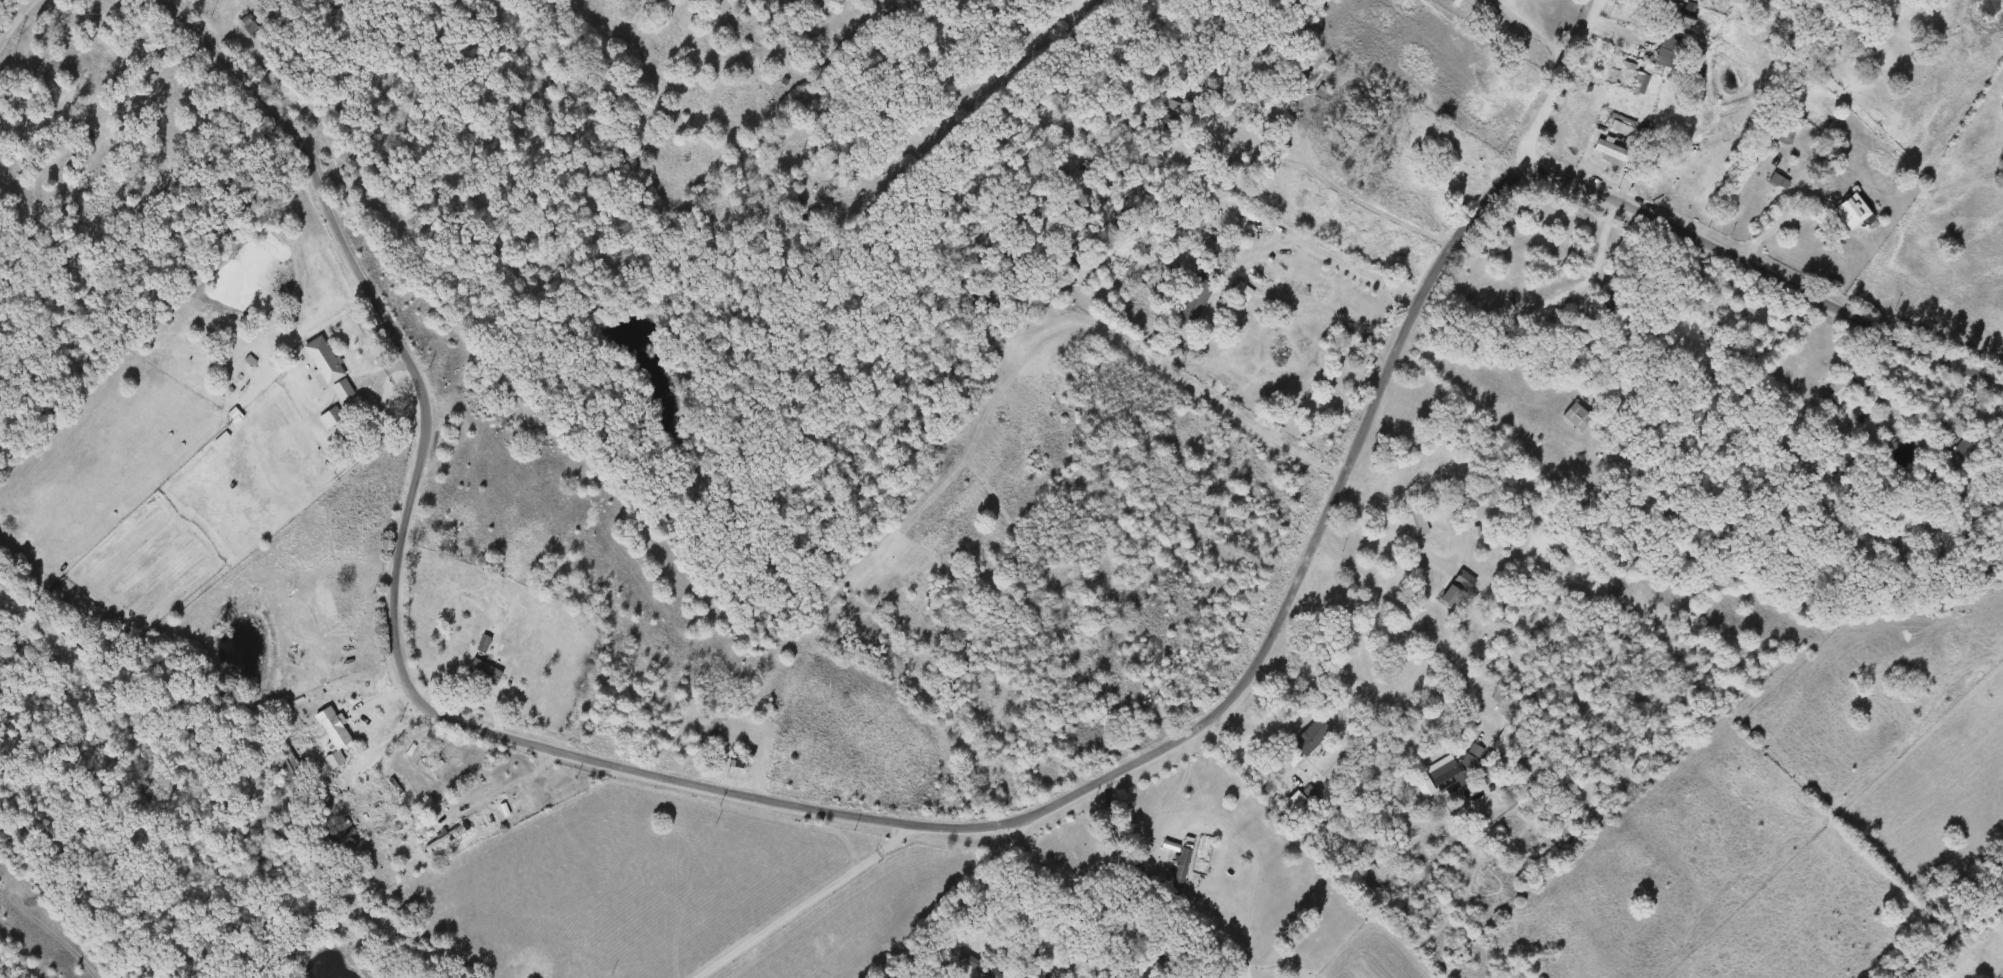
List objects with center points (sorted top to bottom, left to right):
building: (890, 14)
road: (15, 23)
road: (223, 25)
building: (249, 25)
road: (1532, 30)
road: (1619, 30)
building: (1668, 33)
road: (139, 40)
building: (88, 50)
building: (1640, 82)
road: (978, 84)
road: (1557, 85)
building: (1322, 92)
building: (169, 120)
building: (1782, 134)
building: (1612, 152)
building: (1779, 180)
road: (1370, 205)
building: (1852, 211)
building: (799, 225)
building: (1112, 229)
road: (1765, 238)
road: (1324, 252)
building: (1195, 300)
building: (323, 360)
road: (1186, 384)
building: (1843, 385)
building: (1577, 416)
building: (330, 417)
building: (1970, 446)
building: (1415, 523)
building: (1407, 531)
road: (1385, 538)
road: (1408, 622)
building: (484, 670)
road: (488, 689)
building: (1503, 737)
road: (384, 742)
road: (1242, 755)
building: (291, 764)
building: (1461, 767)
building: (1301, 798)
road: (1003, 822)
building: (446, 836)
road: (1121, 841)
road: (1011, 871)
building: (1372, 876)
road: (813, 902)
building: (1020, 942)
building: (1032, 971)

